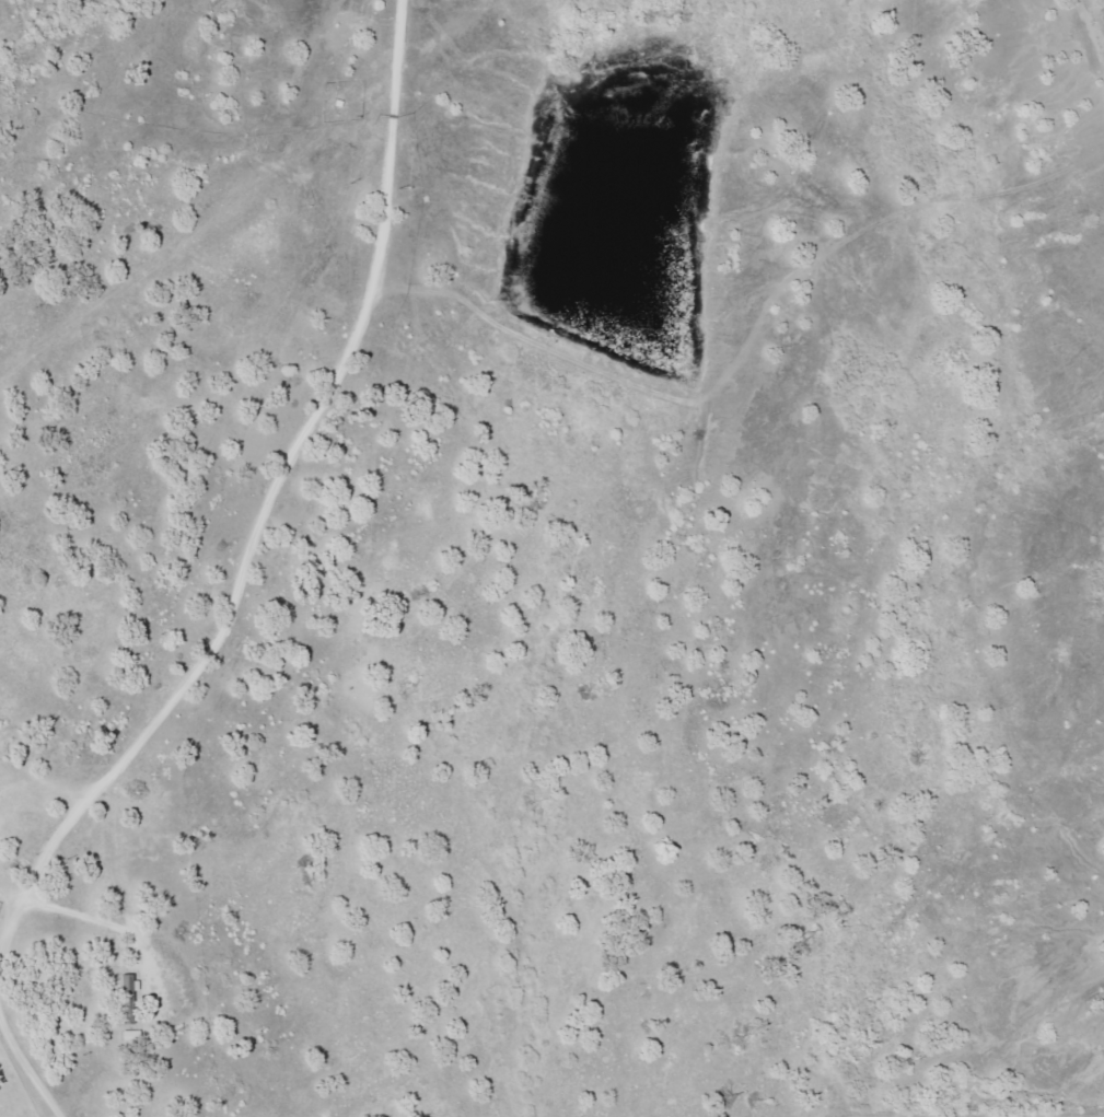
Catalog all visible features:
road: (269, 540)
building: (129, 985)
road: (898, 1116)

